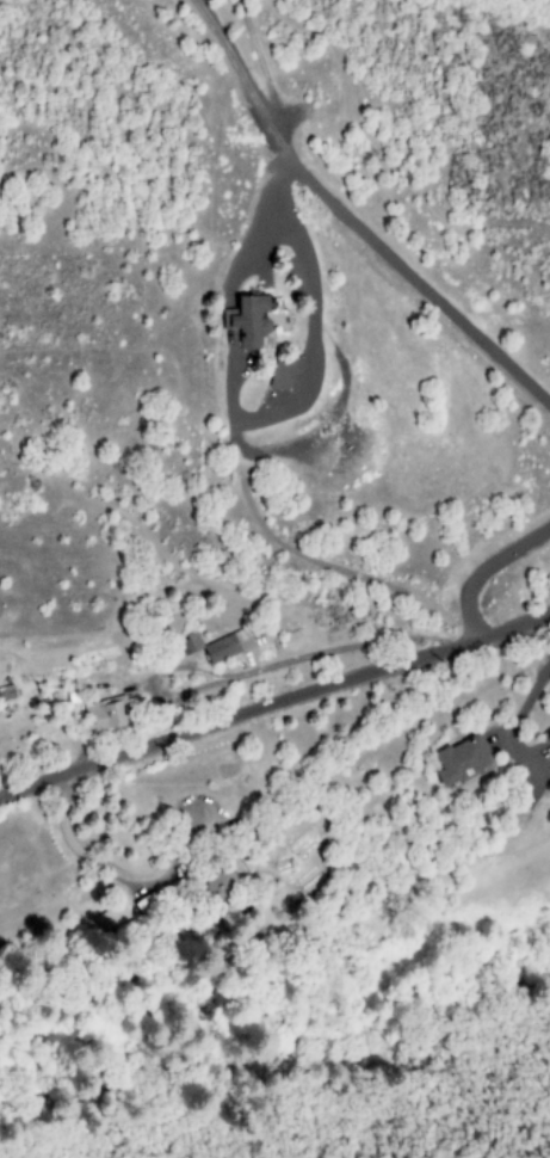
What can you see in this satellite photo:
road: (326, 199)
building: (249, 321)
building: (280, 374)
road: (486, 566)
building: (237, 642)
building: (189, 643)
road: (274, 707)
building: (106, 714)
building: (548, 734)
building: (461, 762)
building: (218, 885)
building: (109, 918)

